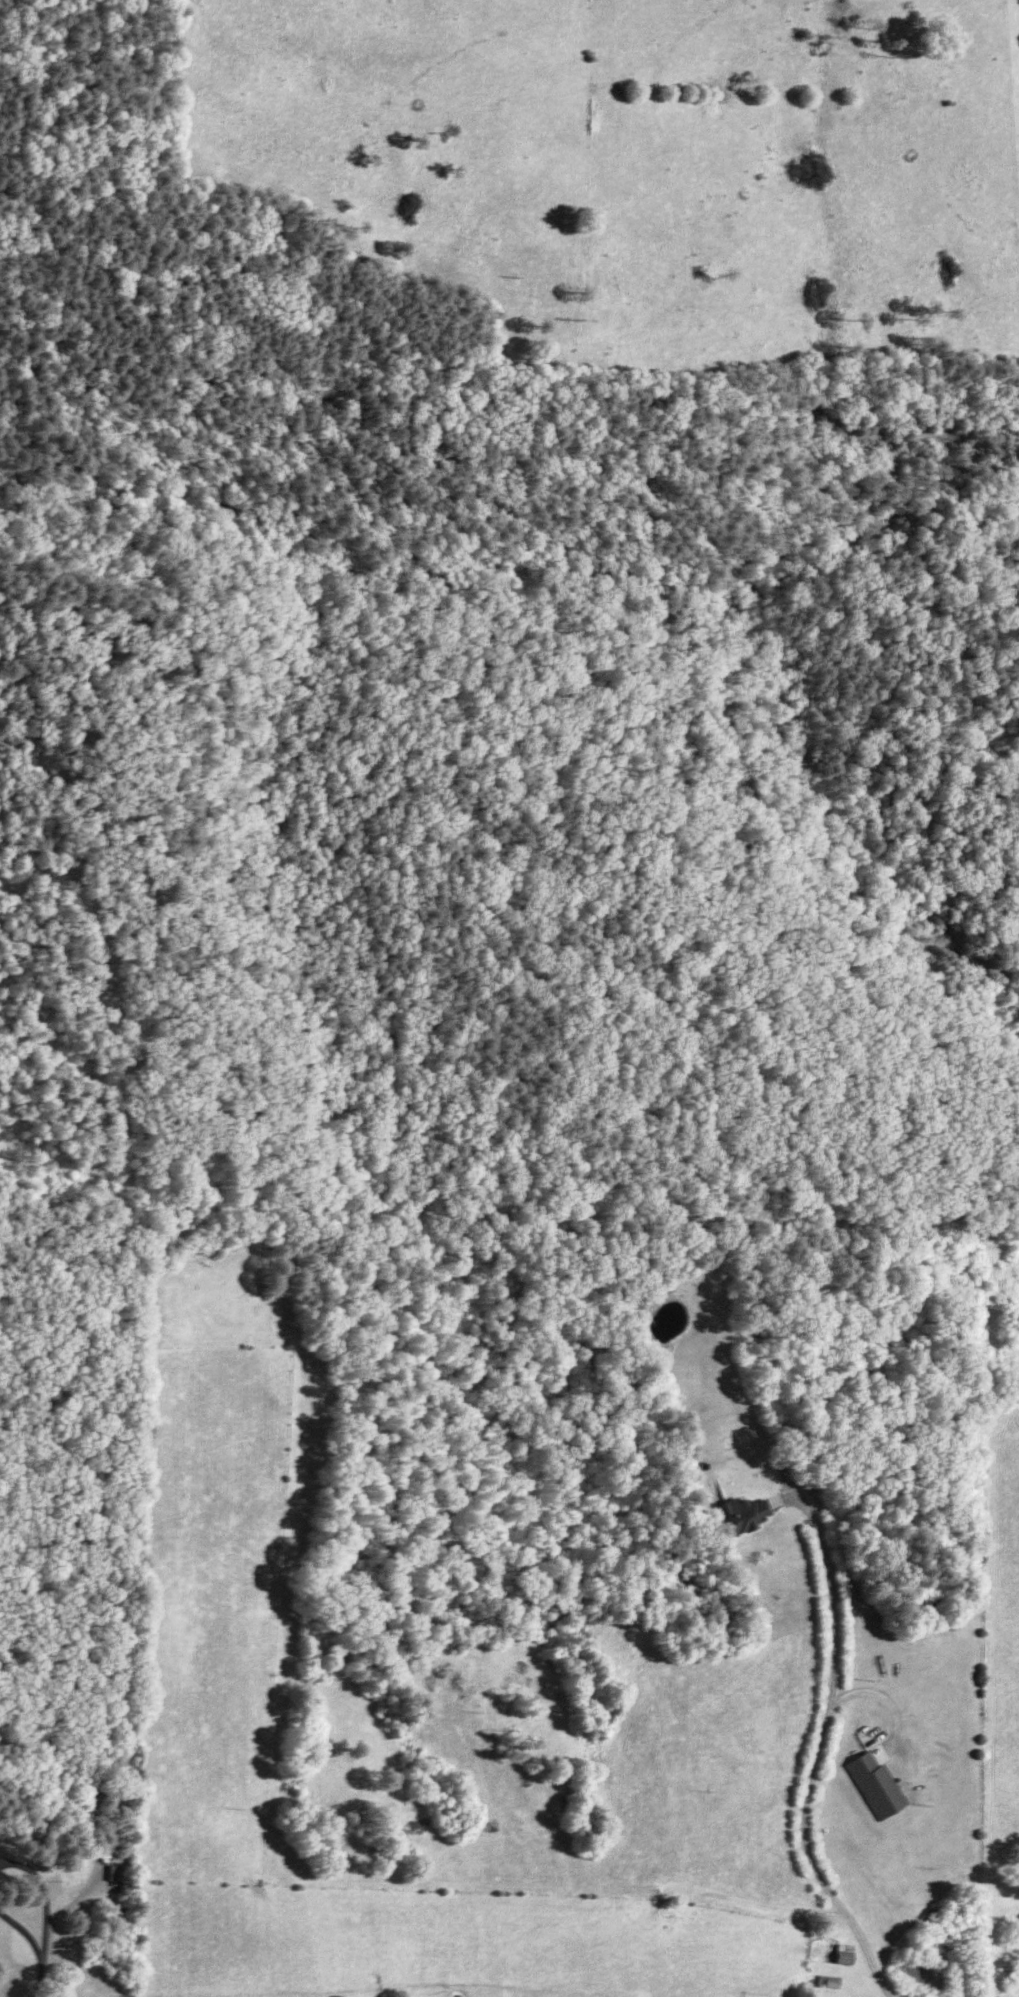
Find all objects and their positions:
road: (796, 1485)
building: (747, 1513)
building: (882, 1785)
road: (804, 1824)
building: (106, 1872)
building: (120, 1872)
road: (46, 1926)
building: (850, 1952)
road: (38, 1977)
building: (834, 1980)

